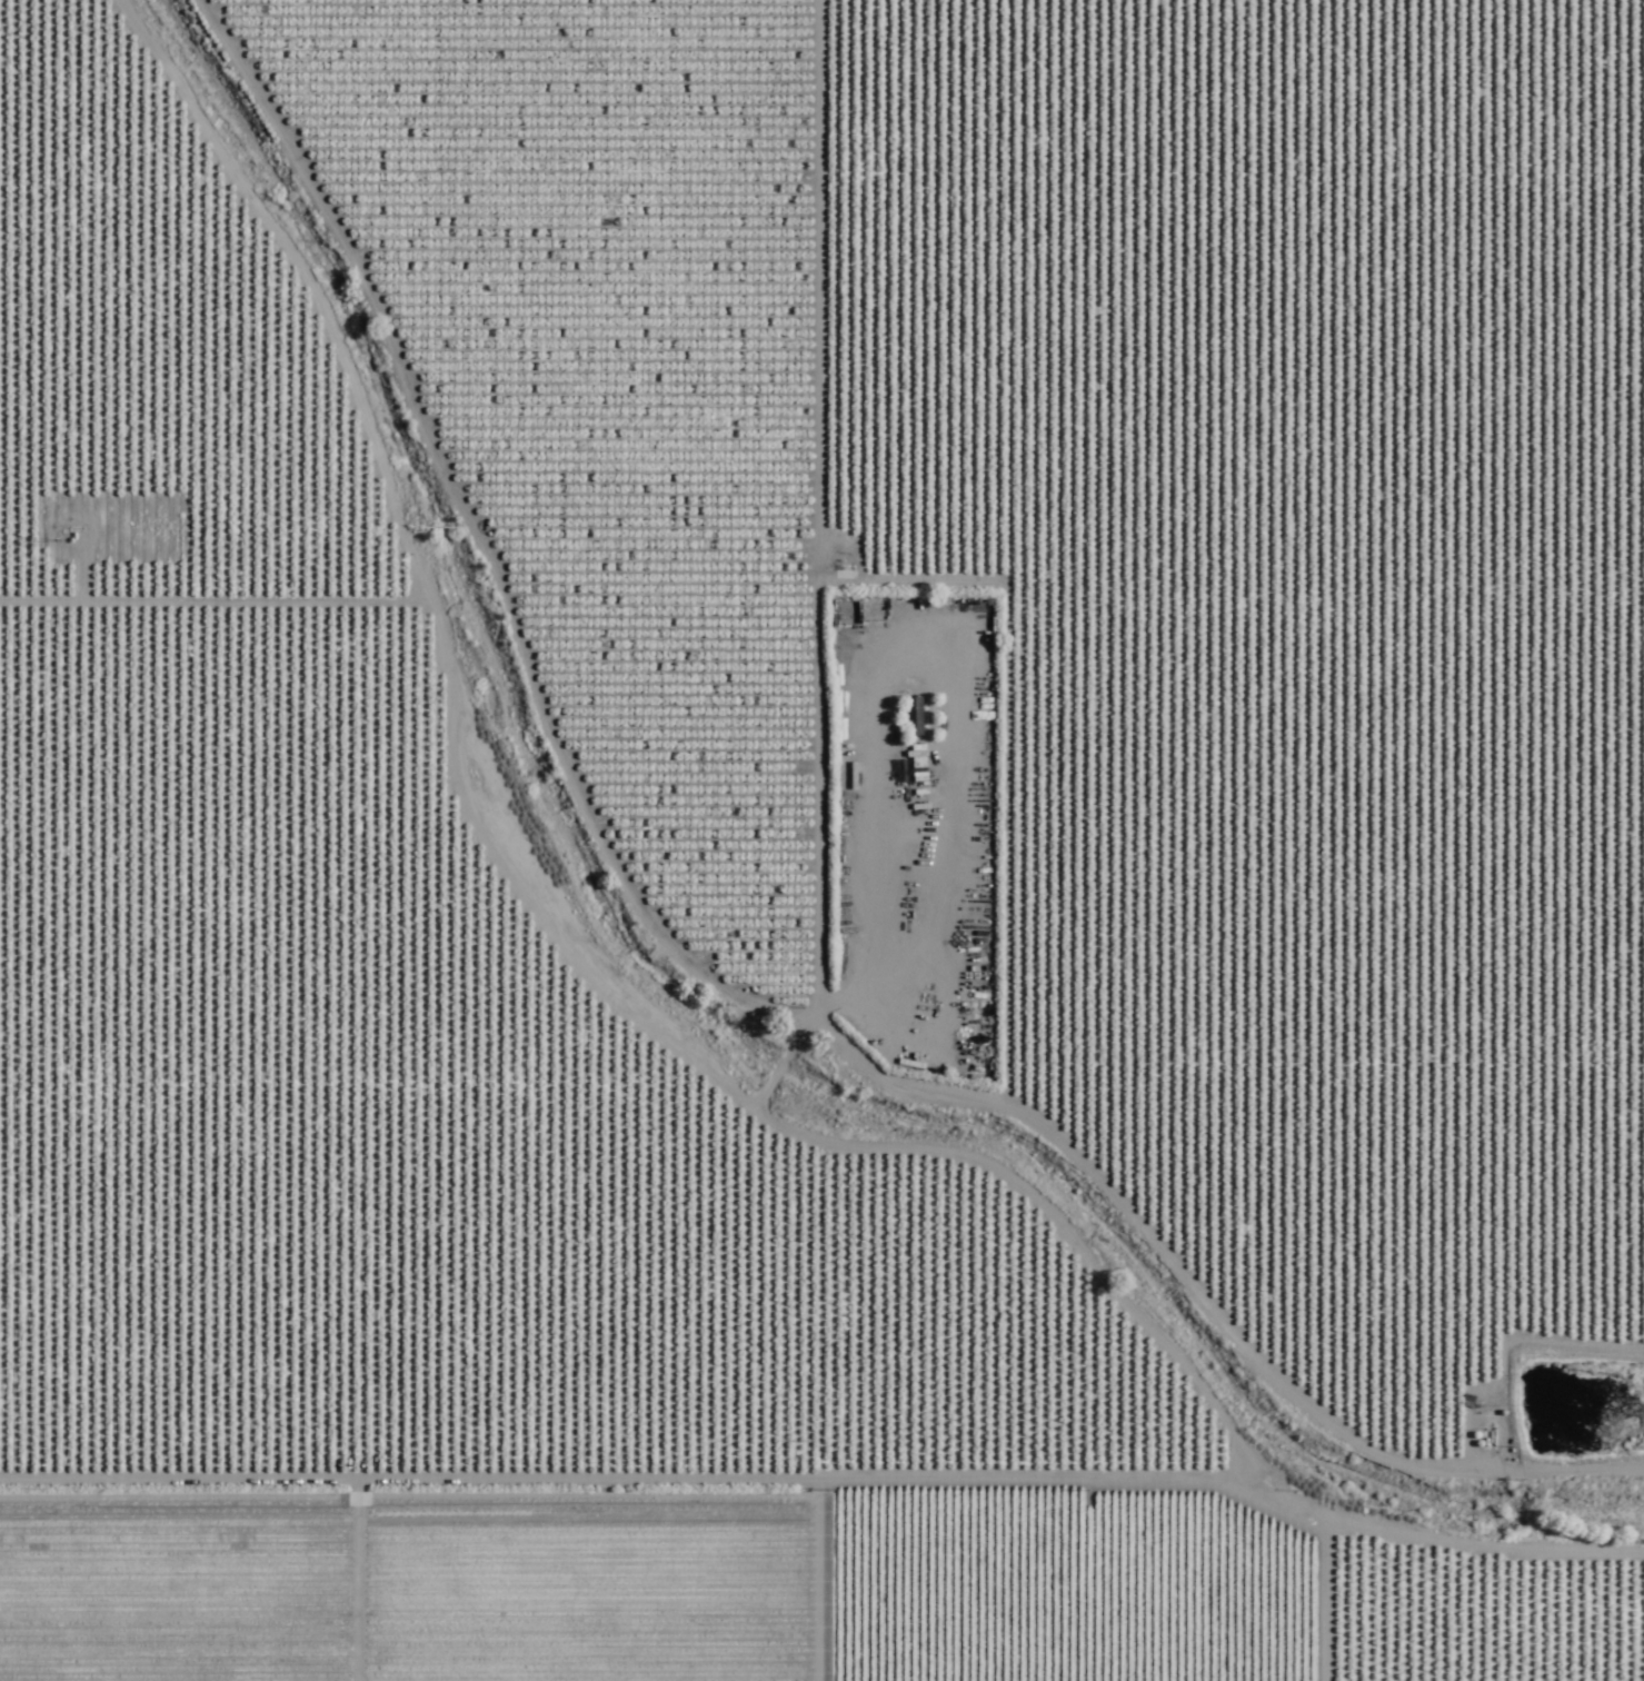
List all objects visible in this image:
crop: (1062, 623)
building: (927, 649)
road: (431, 820)
road: (829, 839)
road: (821, 1434)
crop: (649, 1578)

